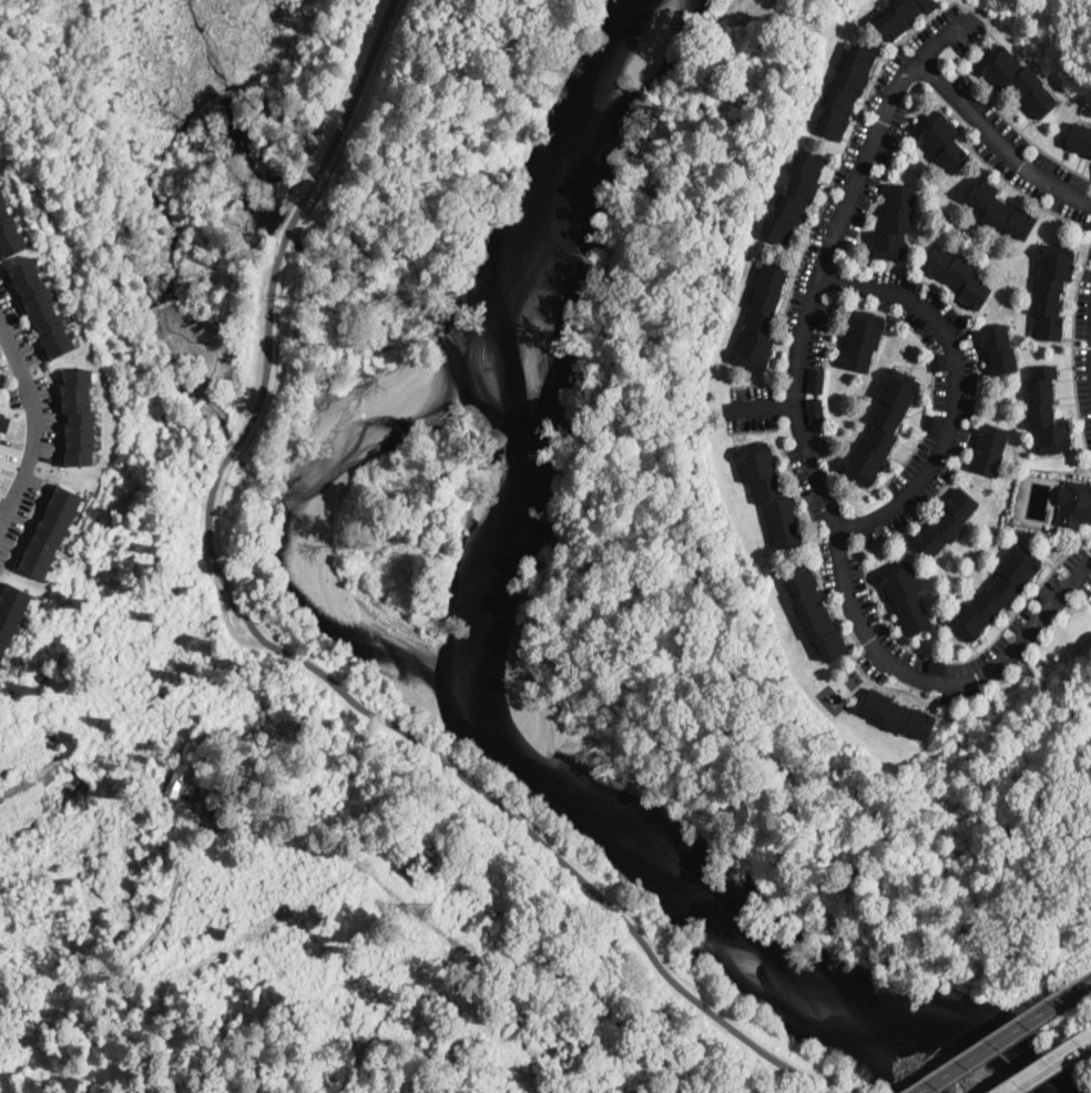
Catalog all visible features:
building: (903, 16)
park: (1061, 25)
road: (939, 39)
building: (1017, 79)
building: (847, 91)
building: (1080, 139)
road: (996, 140)
building: (942, 141)
river: (582, 191)
building: (795, 198)
park: (312, 205)
building: (999, 210)
building: (895, 224)
building: (9, 231)
building: (958, 276)
building: (1052, 288)
building: (41, 307)
building: (761, 319)
building: (863, 339)
building: (999, 348)
building: (940, 362)
building: (1, 377)
building: (815, 380)
building: (0, 384)
road: (956, 386)
building: (815, 411)
building: (1046, 412)
building: (79, 417)
road: (39, 420)
building: (3, 421)
building: (932, 422)
building: (883, 428)
building: (990, 450)
road: (819, 482)
building: (769, 492)
building: (1074, 504)
building: (947, 523)
river: (489, 528)
building: (50, 531)
building: (997, 591)
building: (906, 595)
building: (12, 612)
building: (815, 613)
road: (284, 650)
building: (938, 665)
building: (898, 715)
building: (255, 734)
building: (182, 772)
building: (333, 791)
road: (237, 797)
park: (520, 860)
river: (702, 905)
road: (134, 952)
road: (1083, 988)
road: (997, 1042)
road: (1049, 1065)

